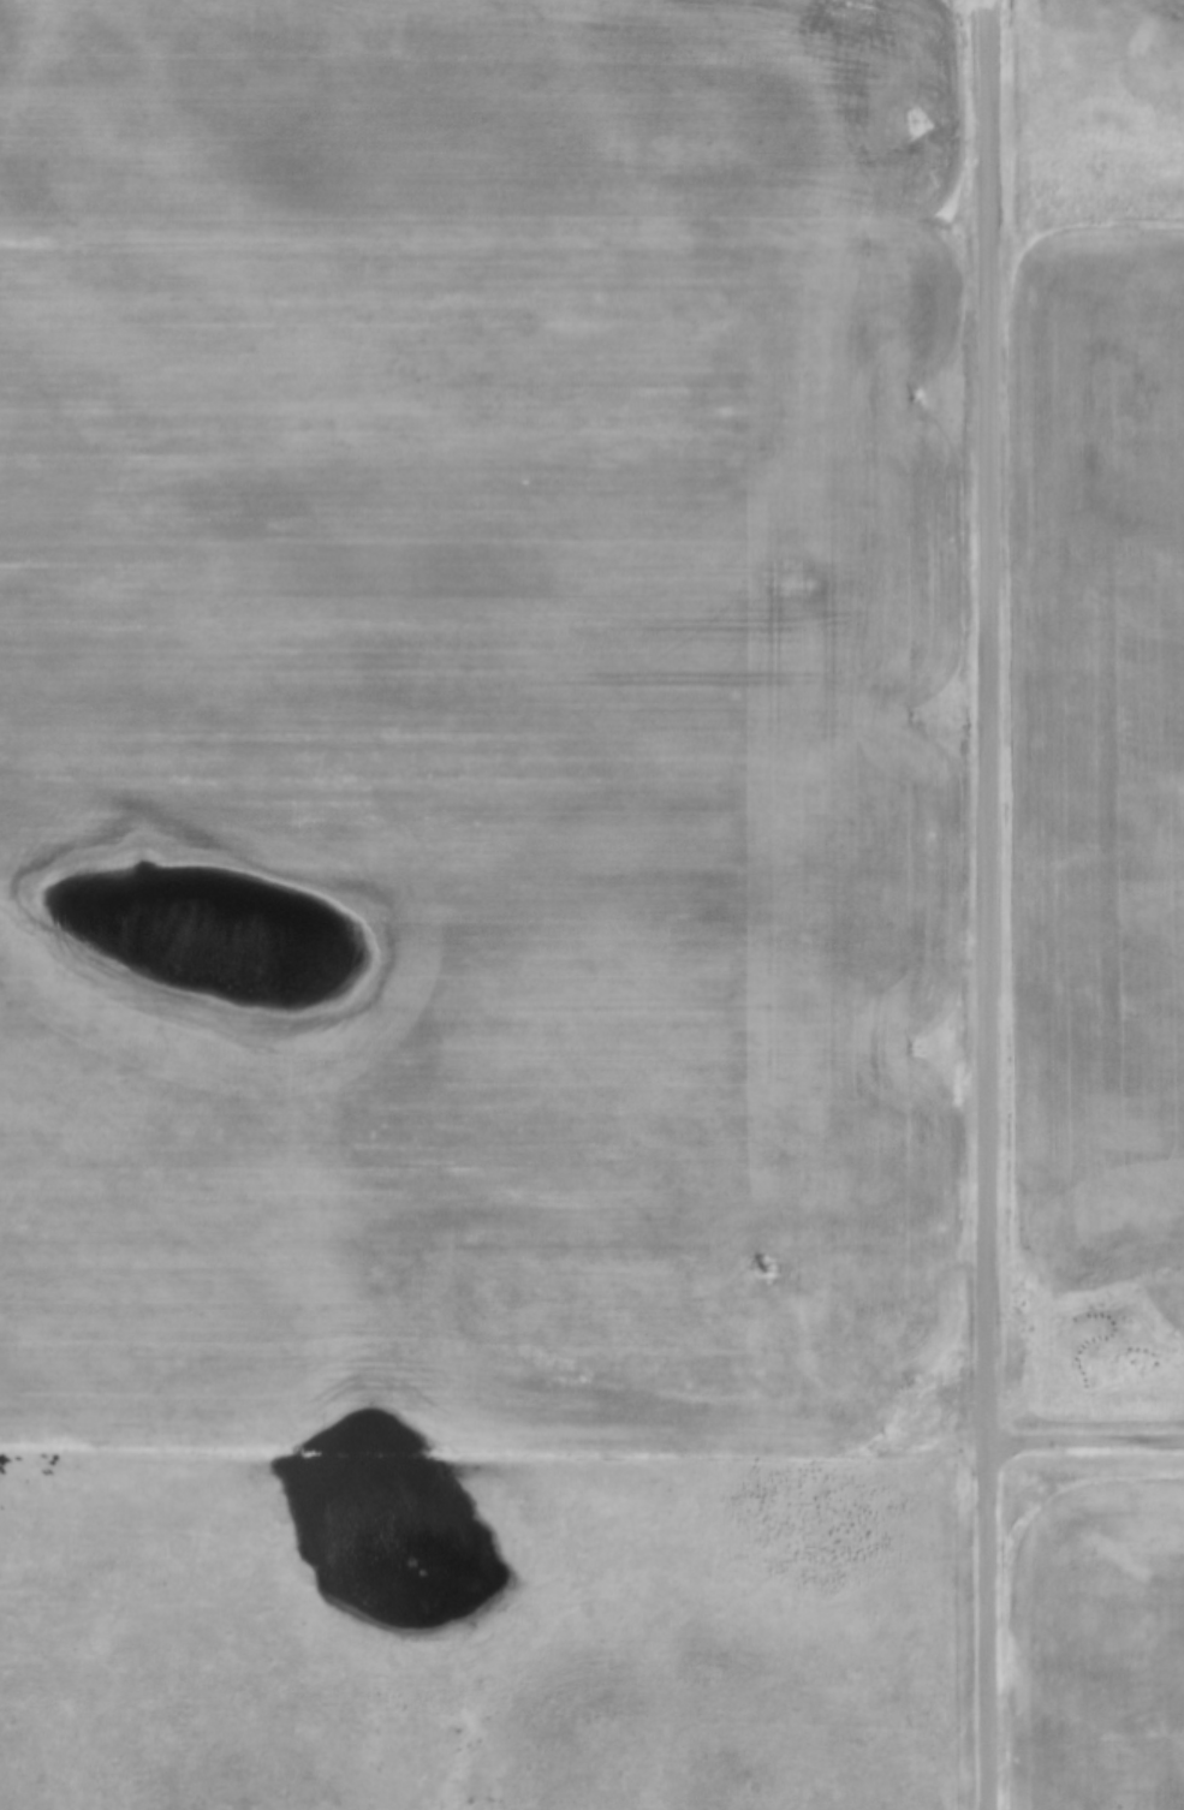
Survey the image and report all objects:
road: (986, 905)
road: (1084, 1431)

